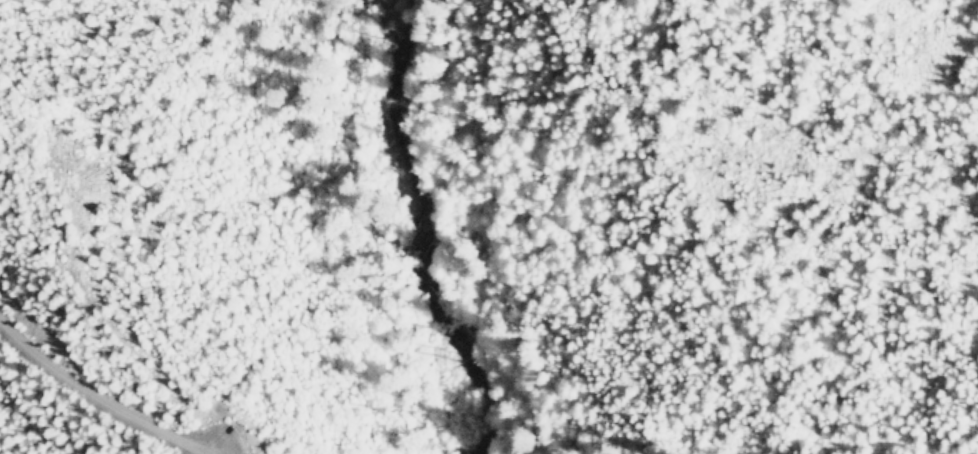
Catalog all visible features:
road: (94, 394)
parking lot: (215, 436)

